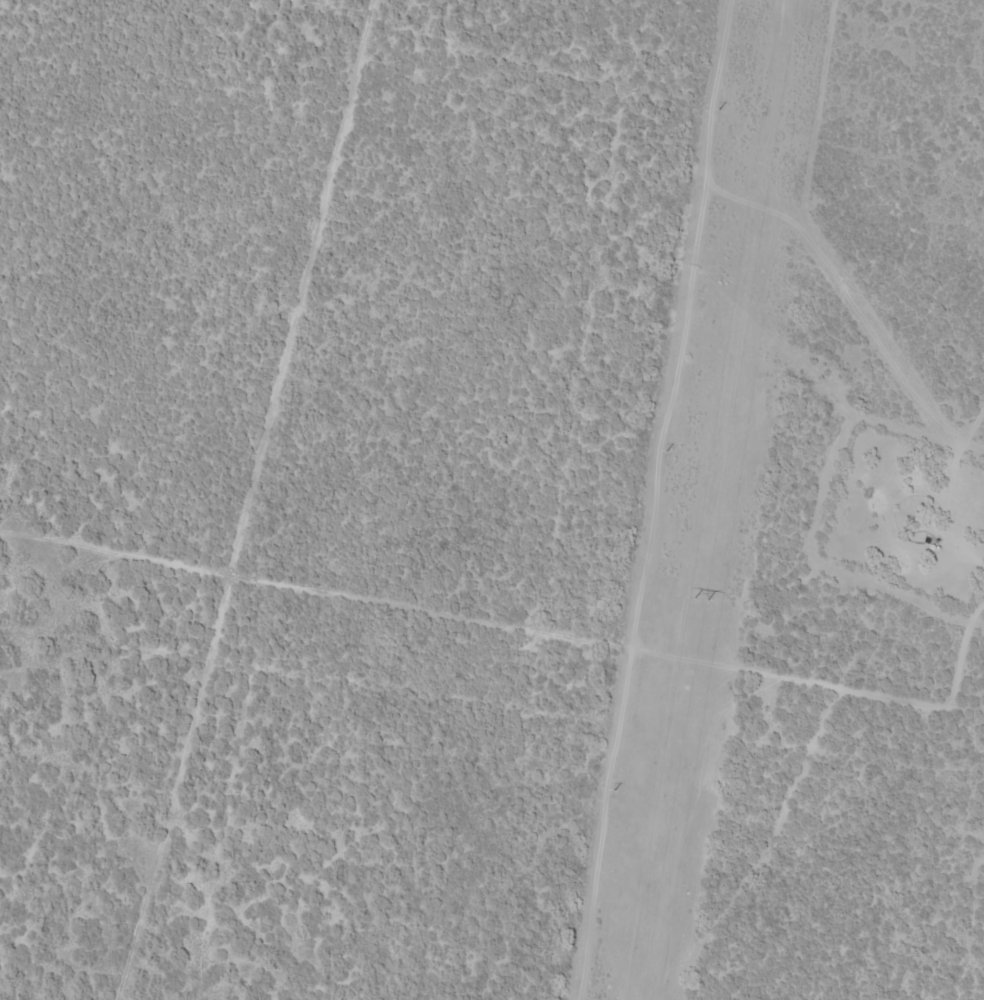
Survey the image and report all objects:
road: (826, 272)
power tower: (699, 600)

